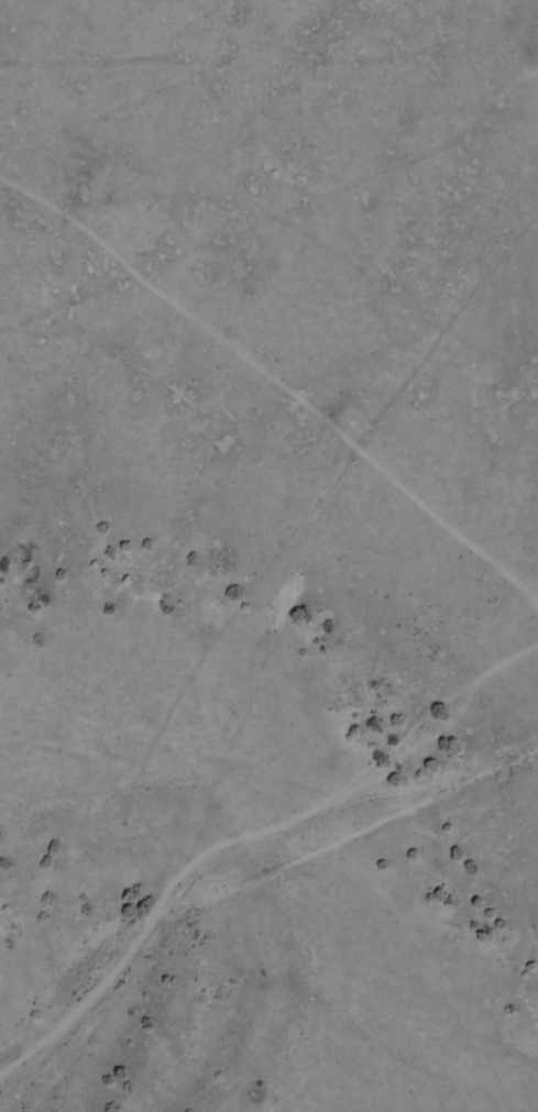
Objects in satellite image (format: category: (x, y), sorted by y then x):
road: (182, 86)

